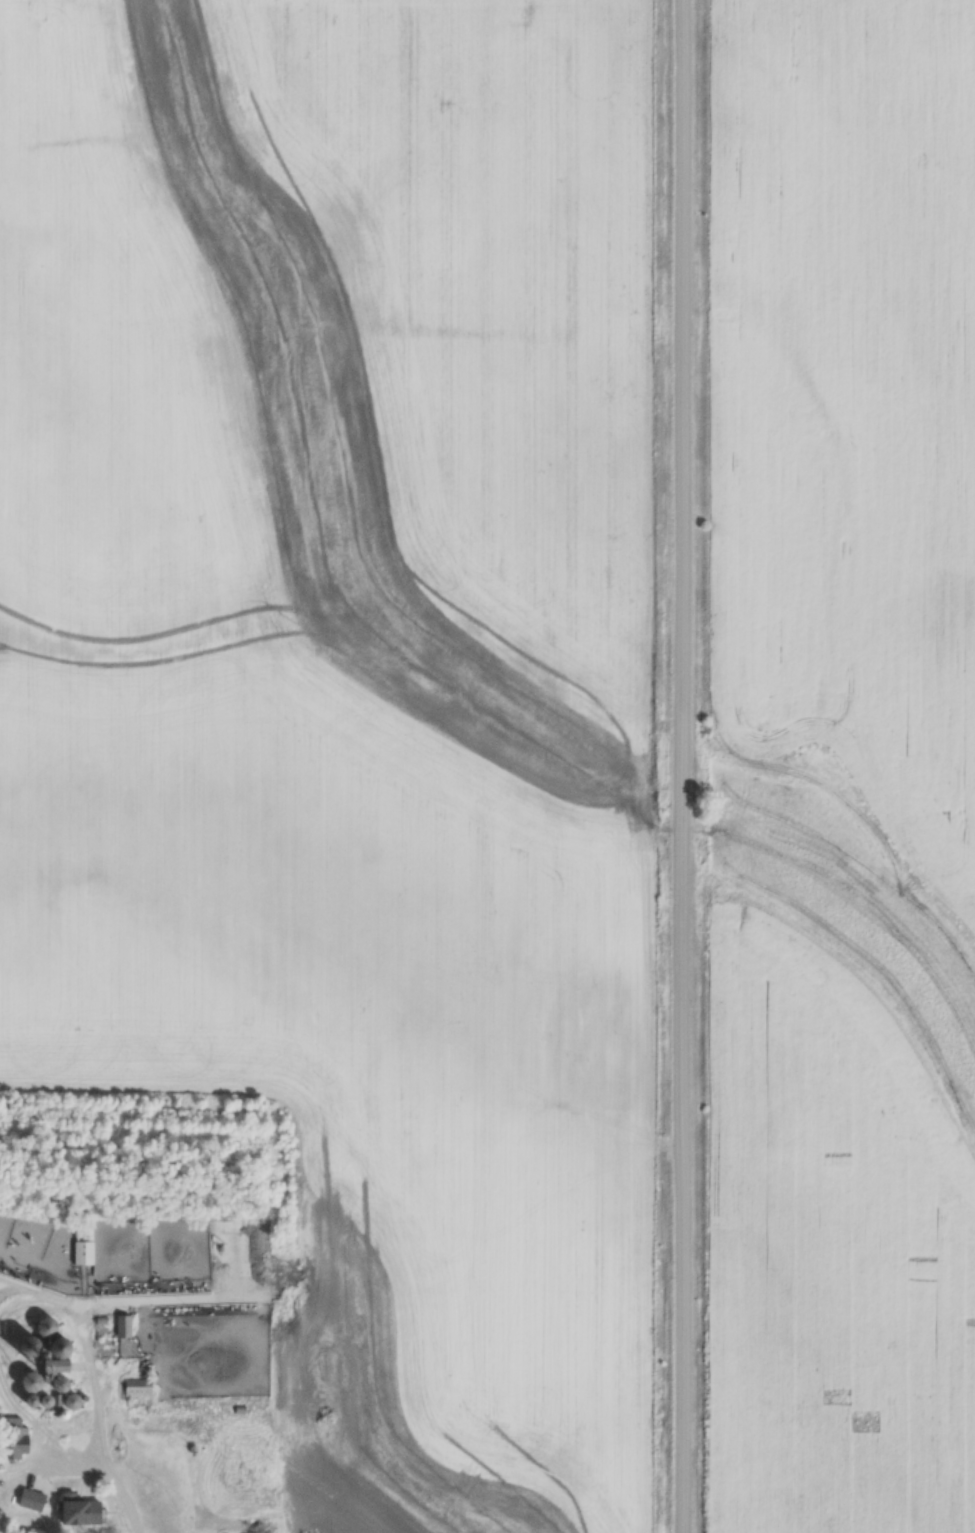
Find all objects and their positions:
road: (686, 766)
building: (84, 1252)
building: (123, 1325)
building: (47, 1359)
building: (138, 1386)
building: (64, 1398)
building: (203, 1472)
road: (114, 1473)
building: (32, 1498)
building: (81, 1509)

